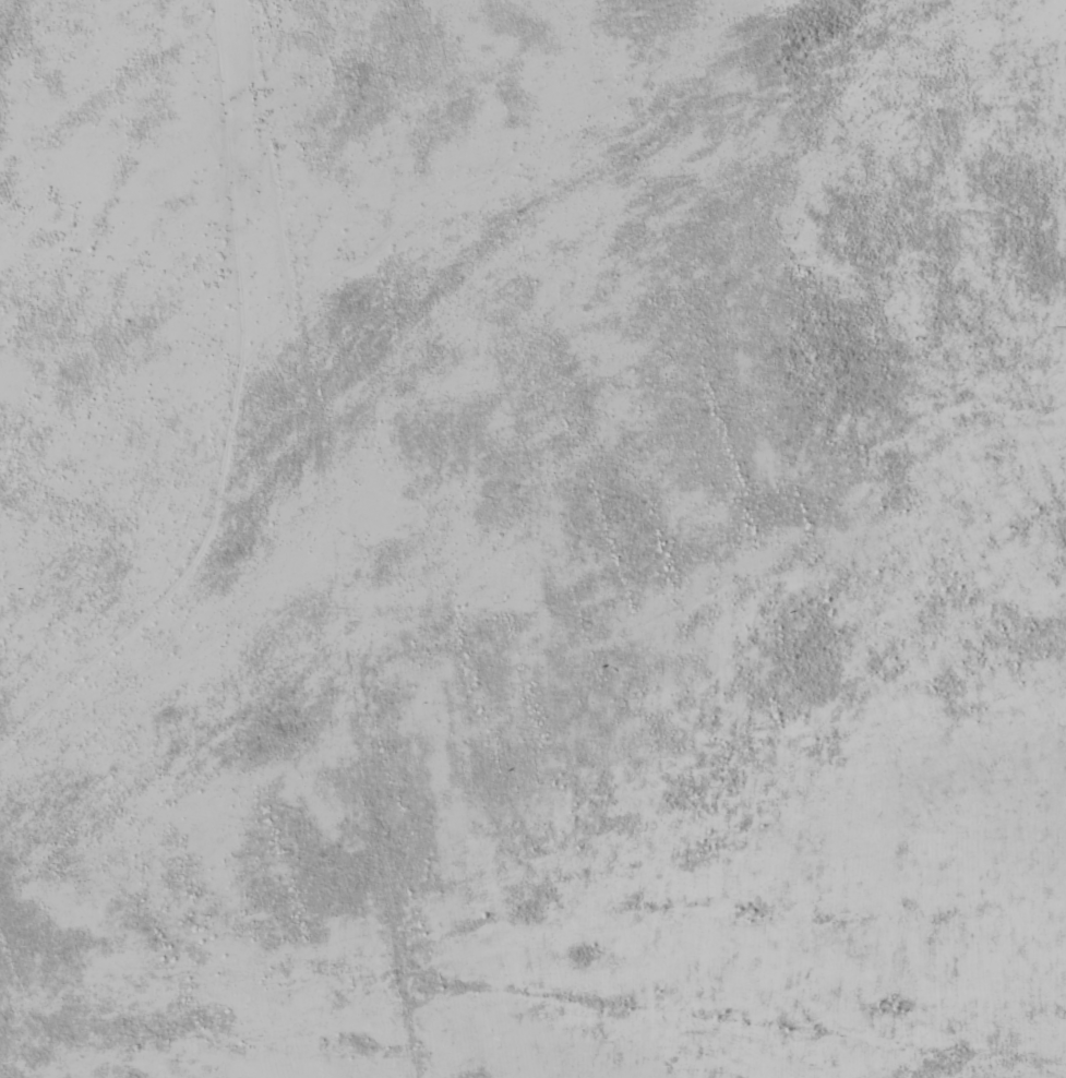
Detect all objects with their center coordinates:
road: (801, 743)

